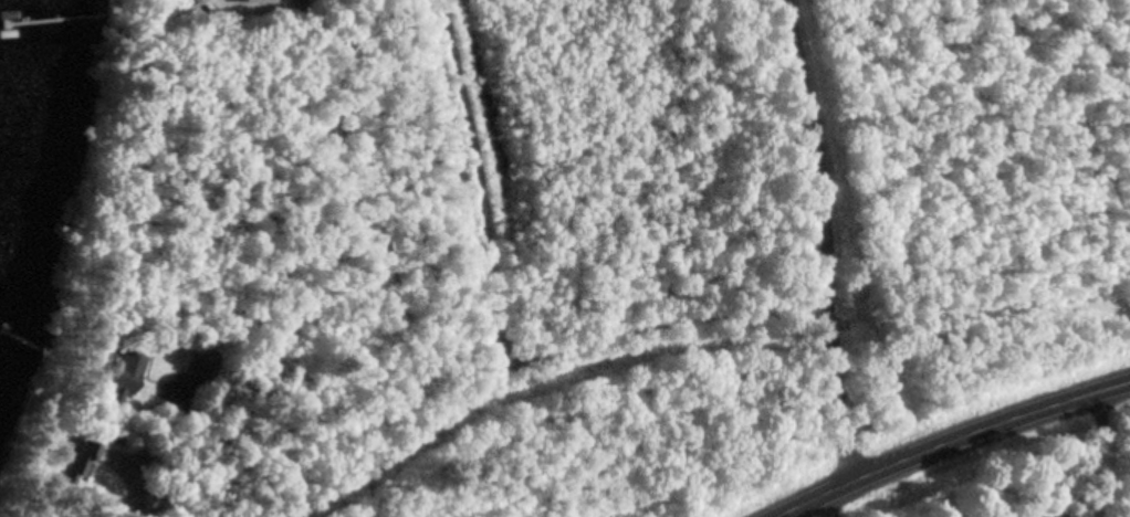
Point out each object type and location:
building: (250, 2)
road: (525, 123)
road: (163, 167)
road: (687, 222)
road: (824, 239)
road: (137, 273)
road: (165, 274)
building: (193, 360)
building: (121, 374)
road: (949, 441)
building: (80, 458)
road: (33, 492)

